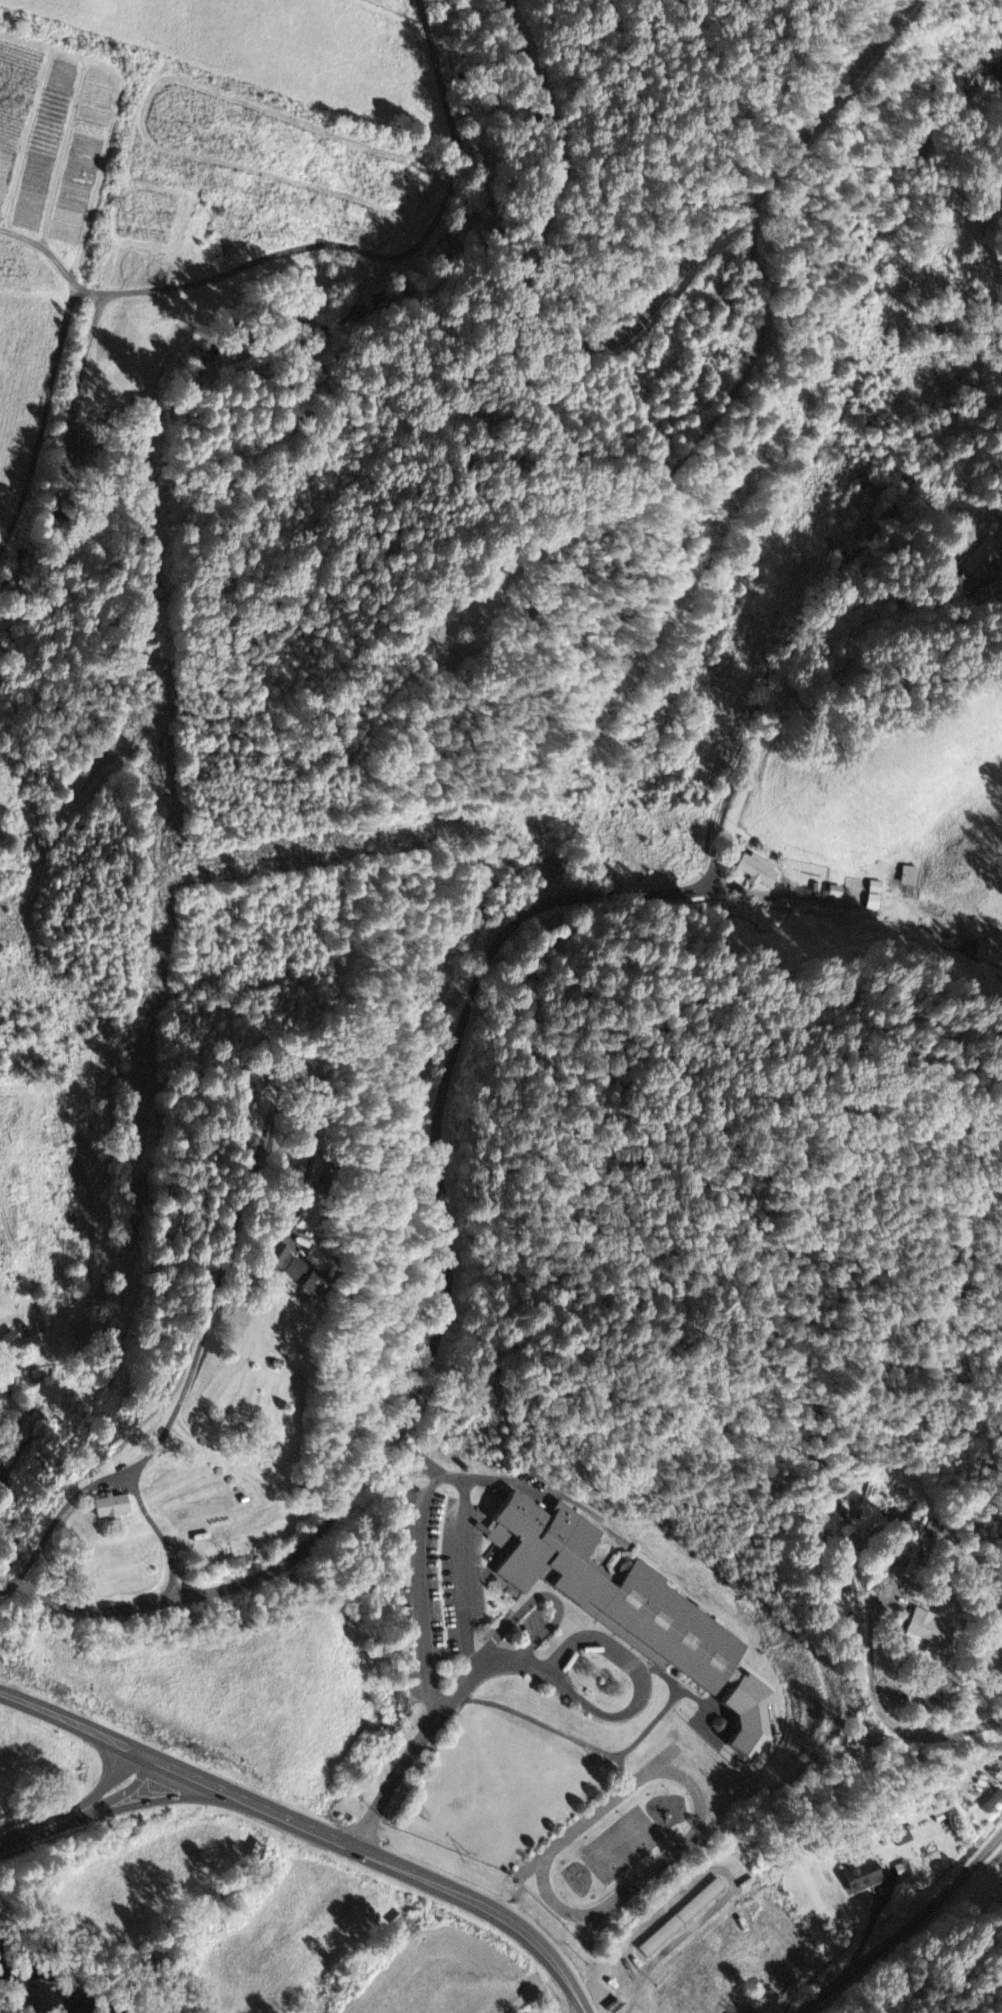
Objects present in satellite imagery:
road: (624, 336)
building: (980, 559)
park: (442, 644)
building: (756, 872)
building: (912, 878)
building: (874, 897)
building: (306, 1071)
road: (445, 1106)
building: (282, 1268)
building: (7, 1343)
building: (33, 1378)
building: (18, 1428)
building: (107, 1509)
building: (686, 1564)
building: (627, 1610)
building: (930, 1629)
road: (83, 1809)
road: (311, 1830)
building: (903, 1838)
building: (902, 1872)
building: (859, 1878)
building: (680, 1919)
road: (908, 1932)

